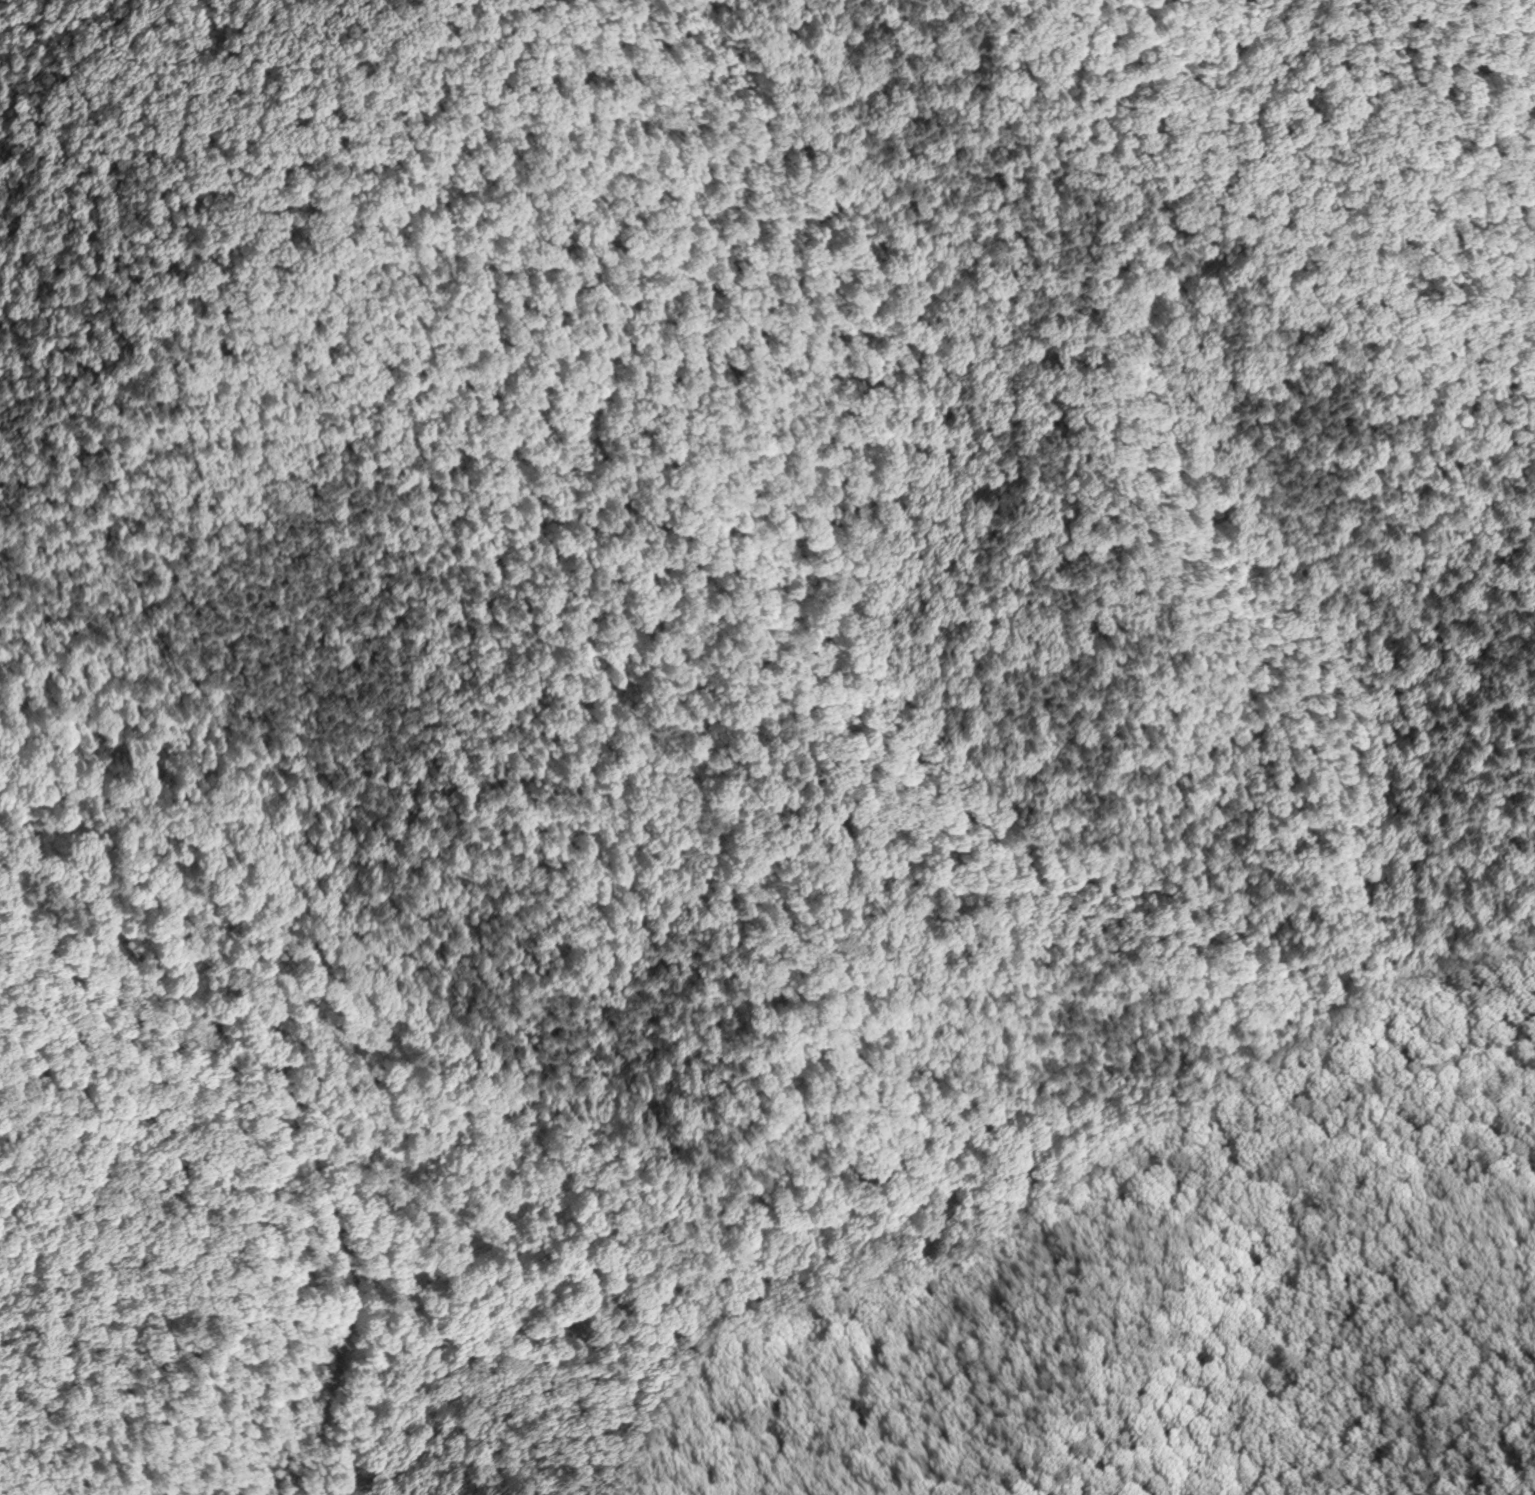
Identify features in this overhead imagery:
road: (297, 1113)

